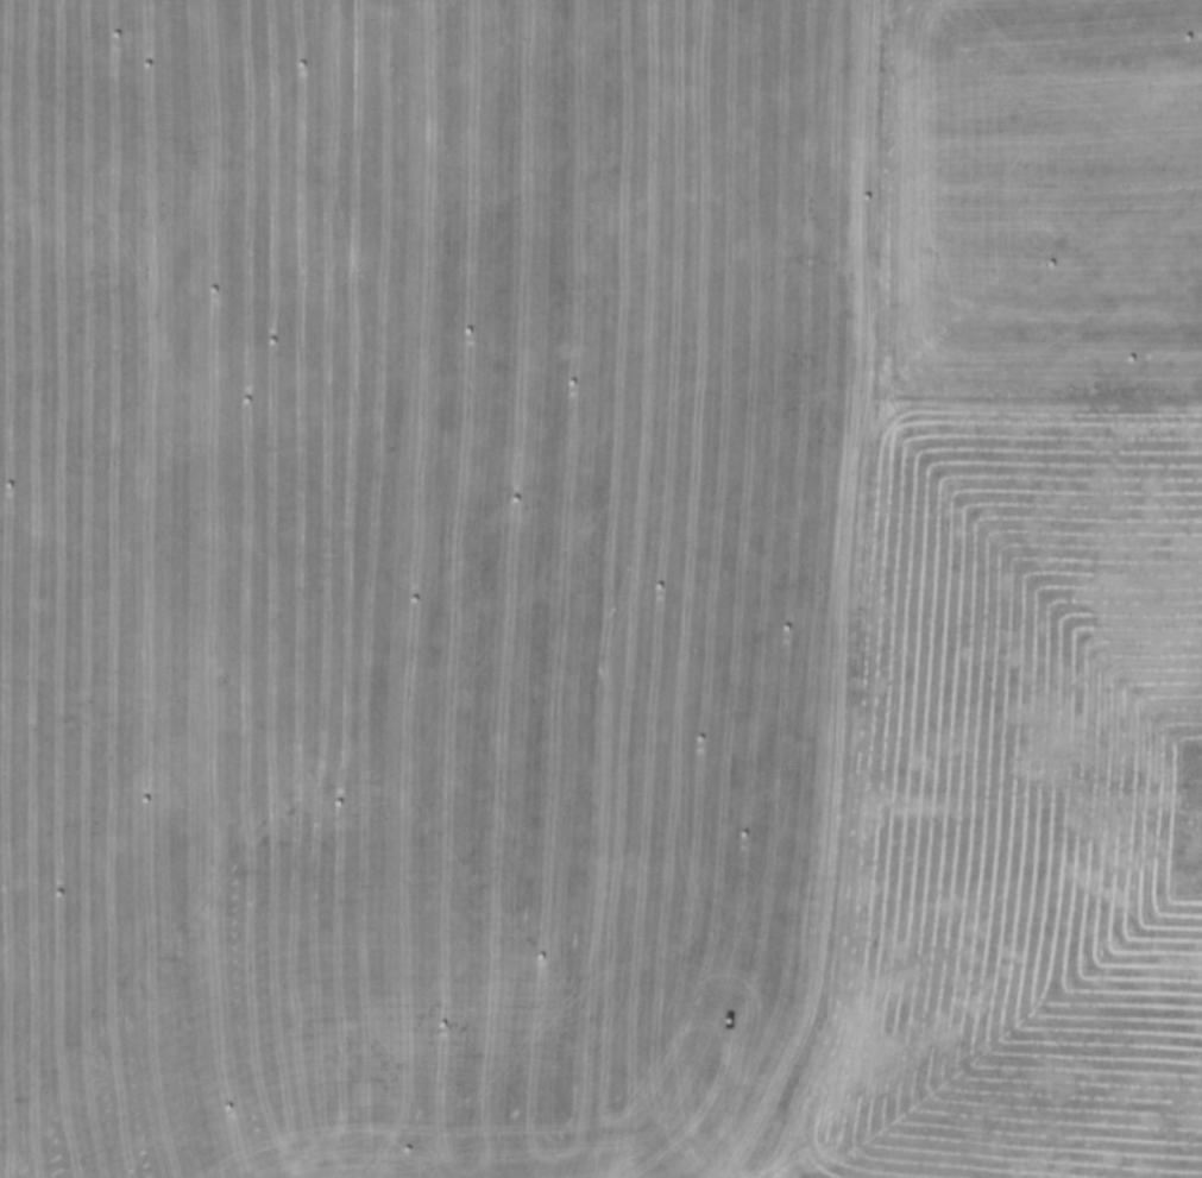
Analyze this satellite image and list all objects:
road: (847, 591)

